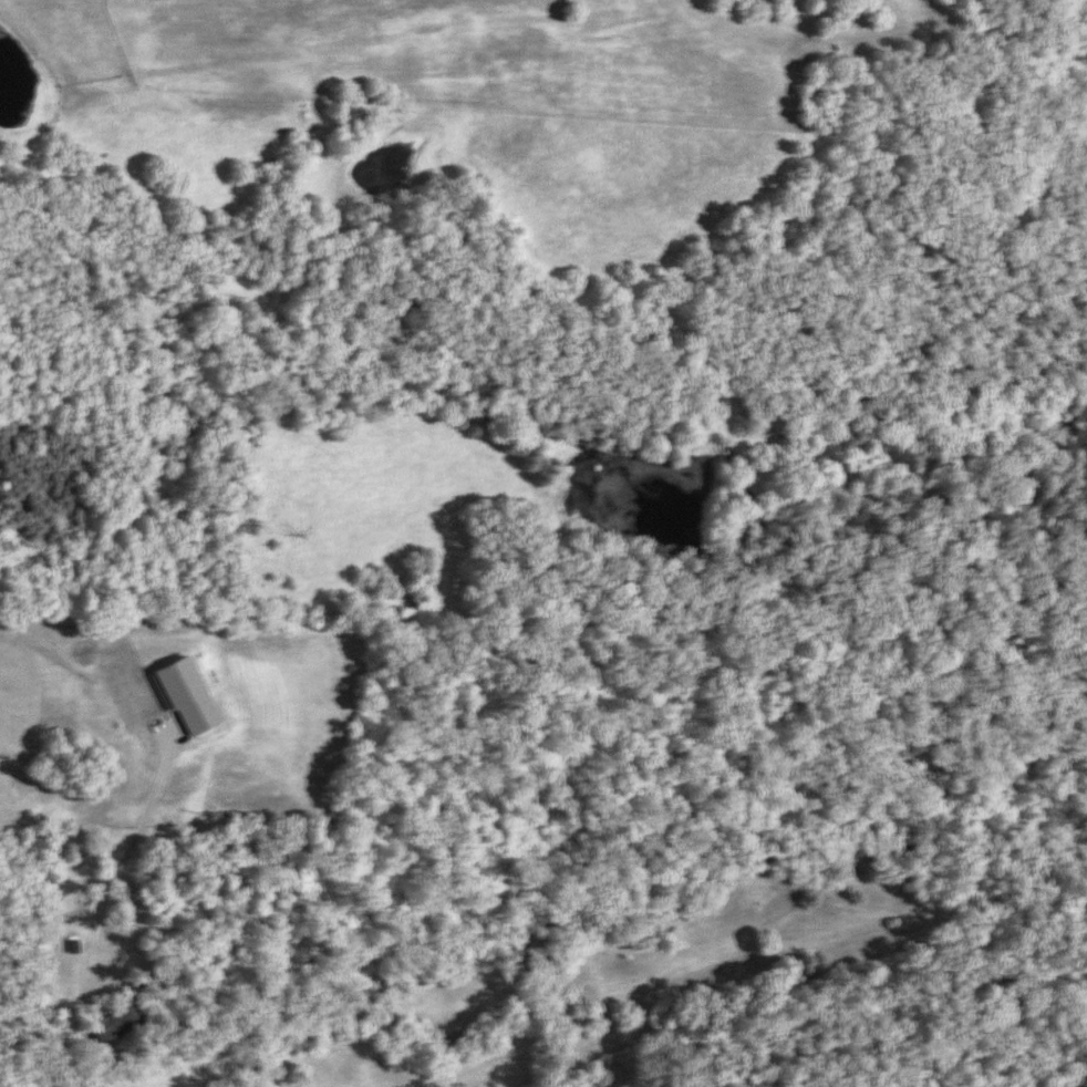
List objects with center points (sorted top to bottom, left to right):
road: (144, 556)
road: (58, 1042)

